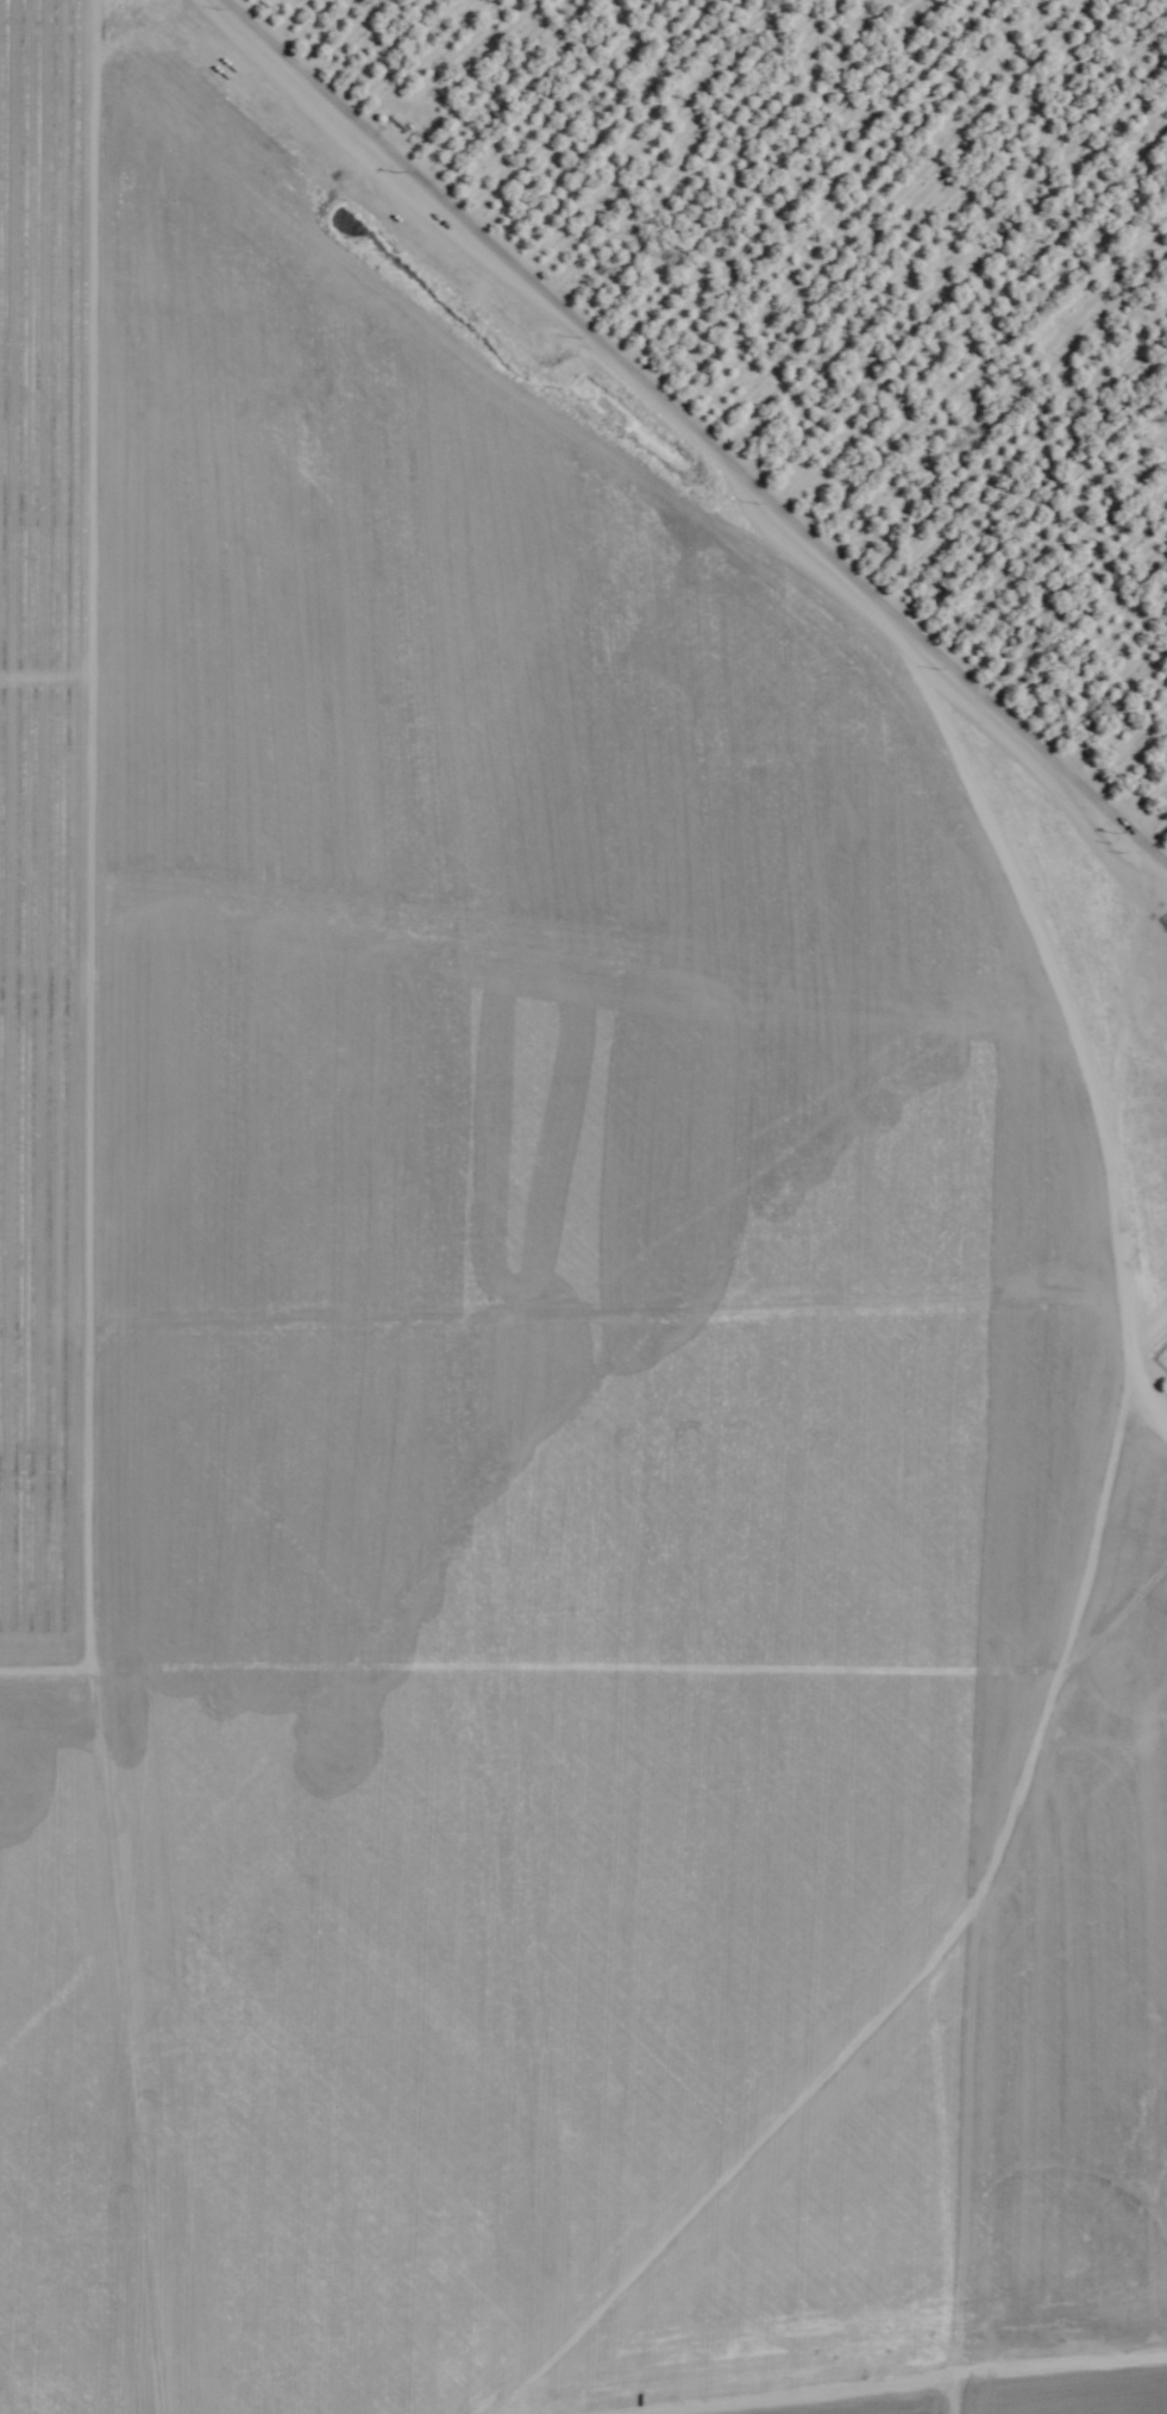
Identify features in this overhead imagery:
crop: (492, 1284)
crop: (841, 2352)

